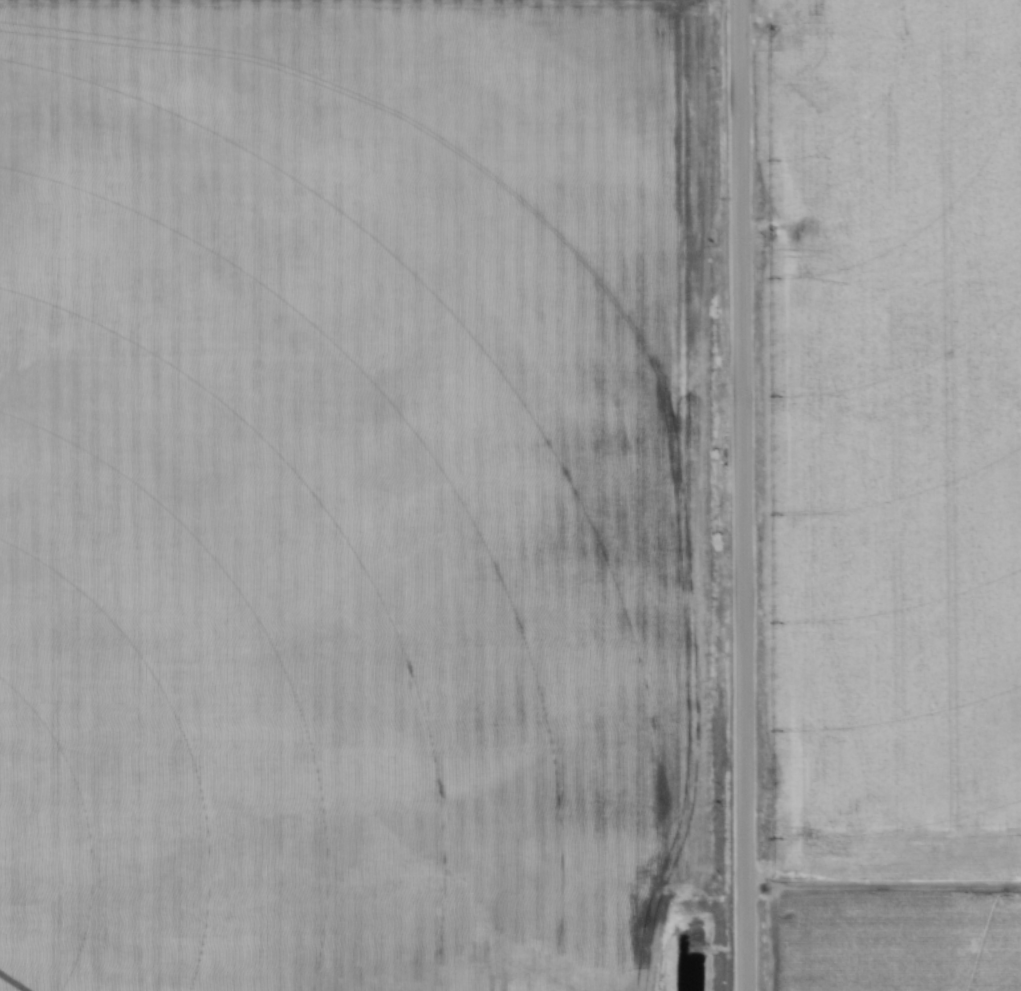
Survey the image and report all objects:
road: (741, 495)

